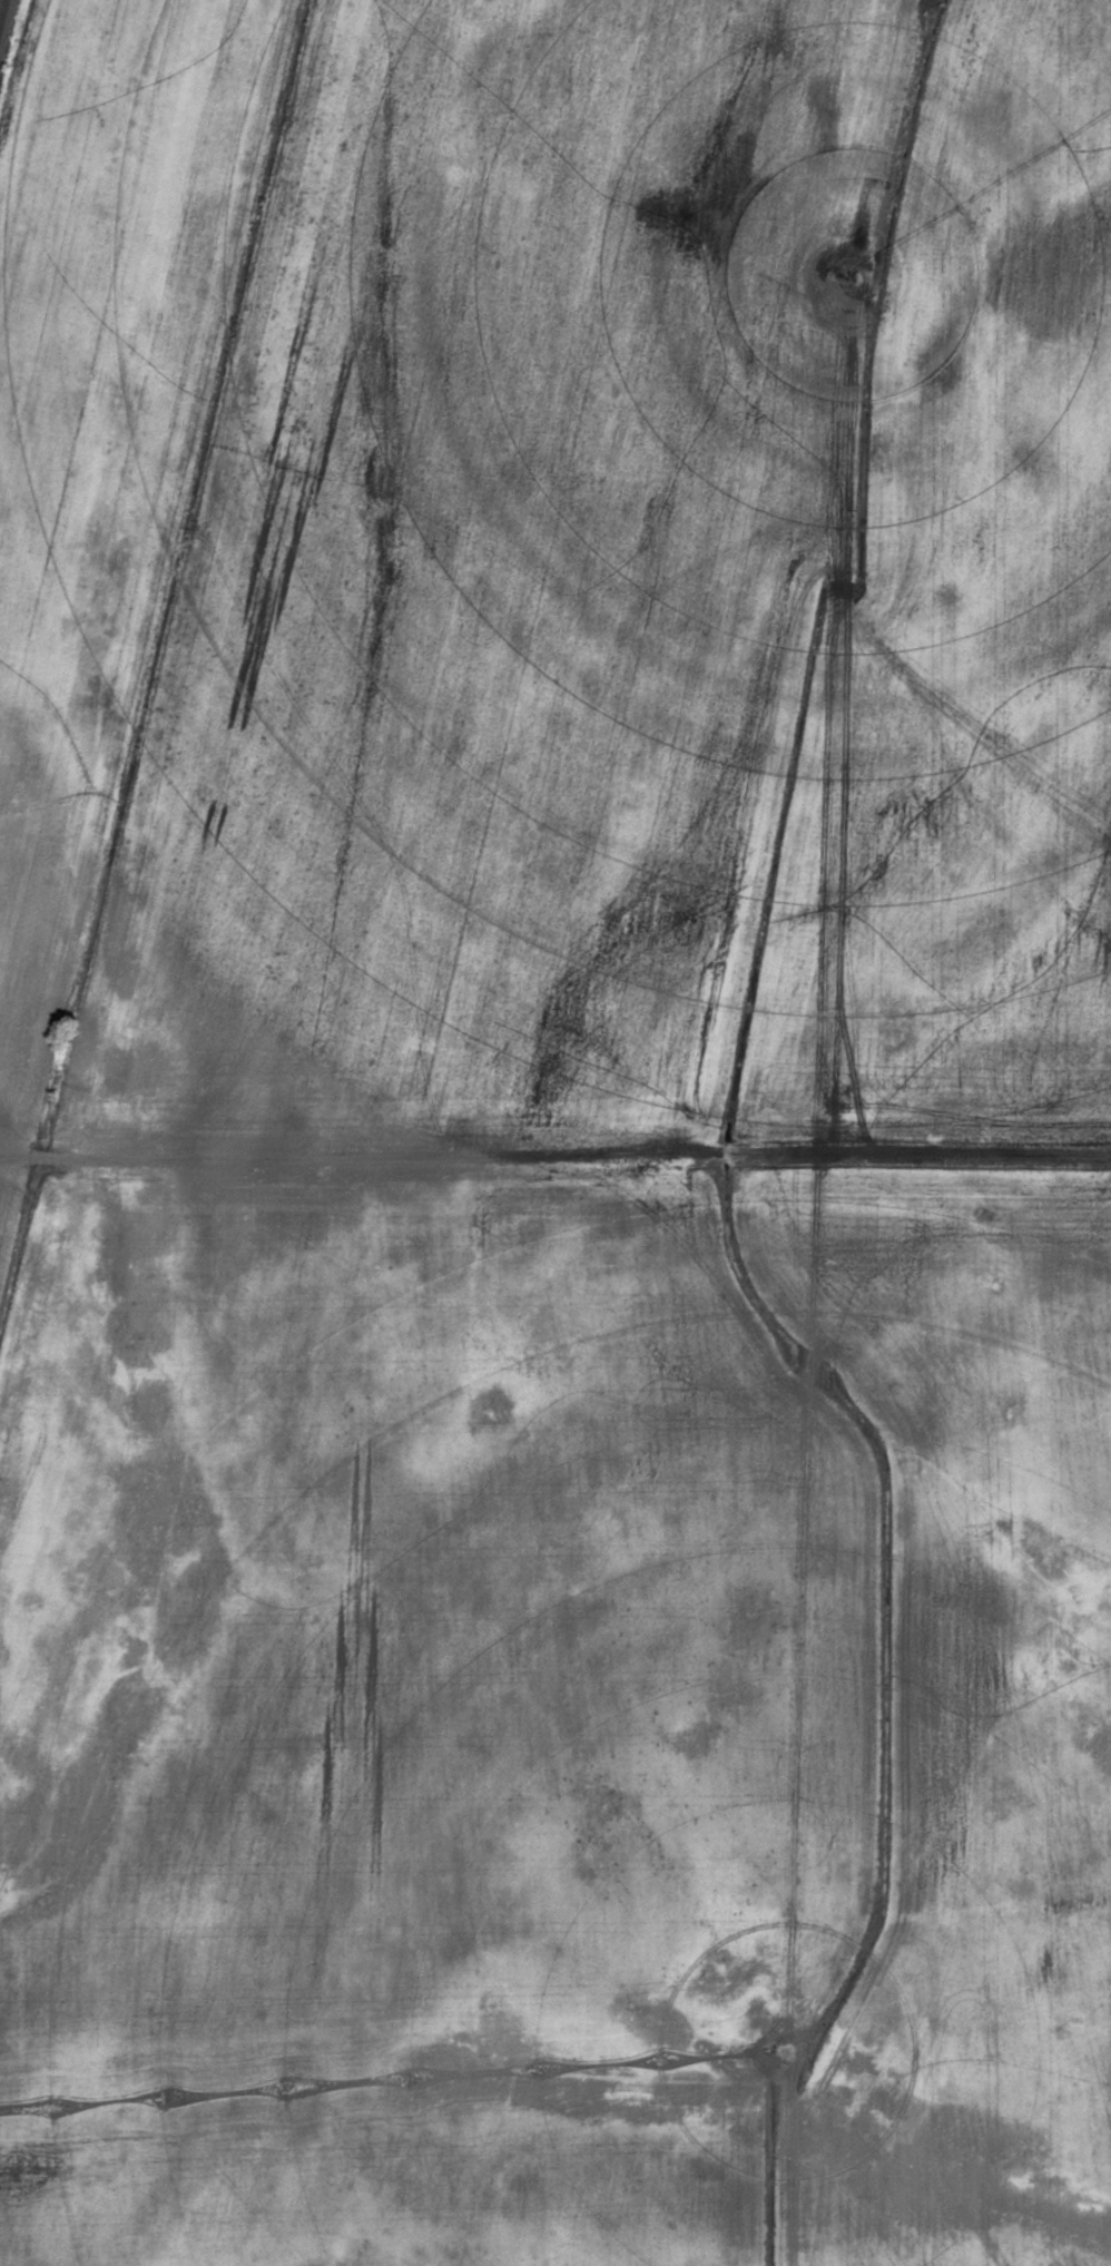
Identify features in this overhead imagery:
railway: (2, 11)
road: (555, 1157)

